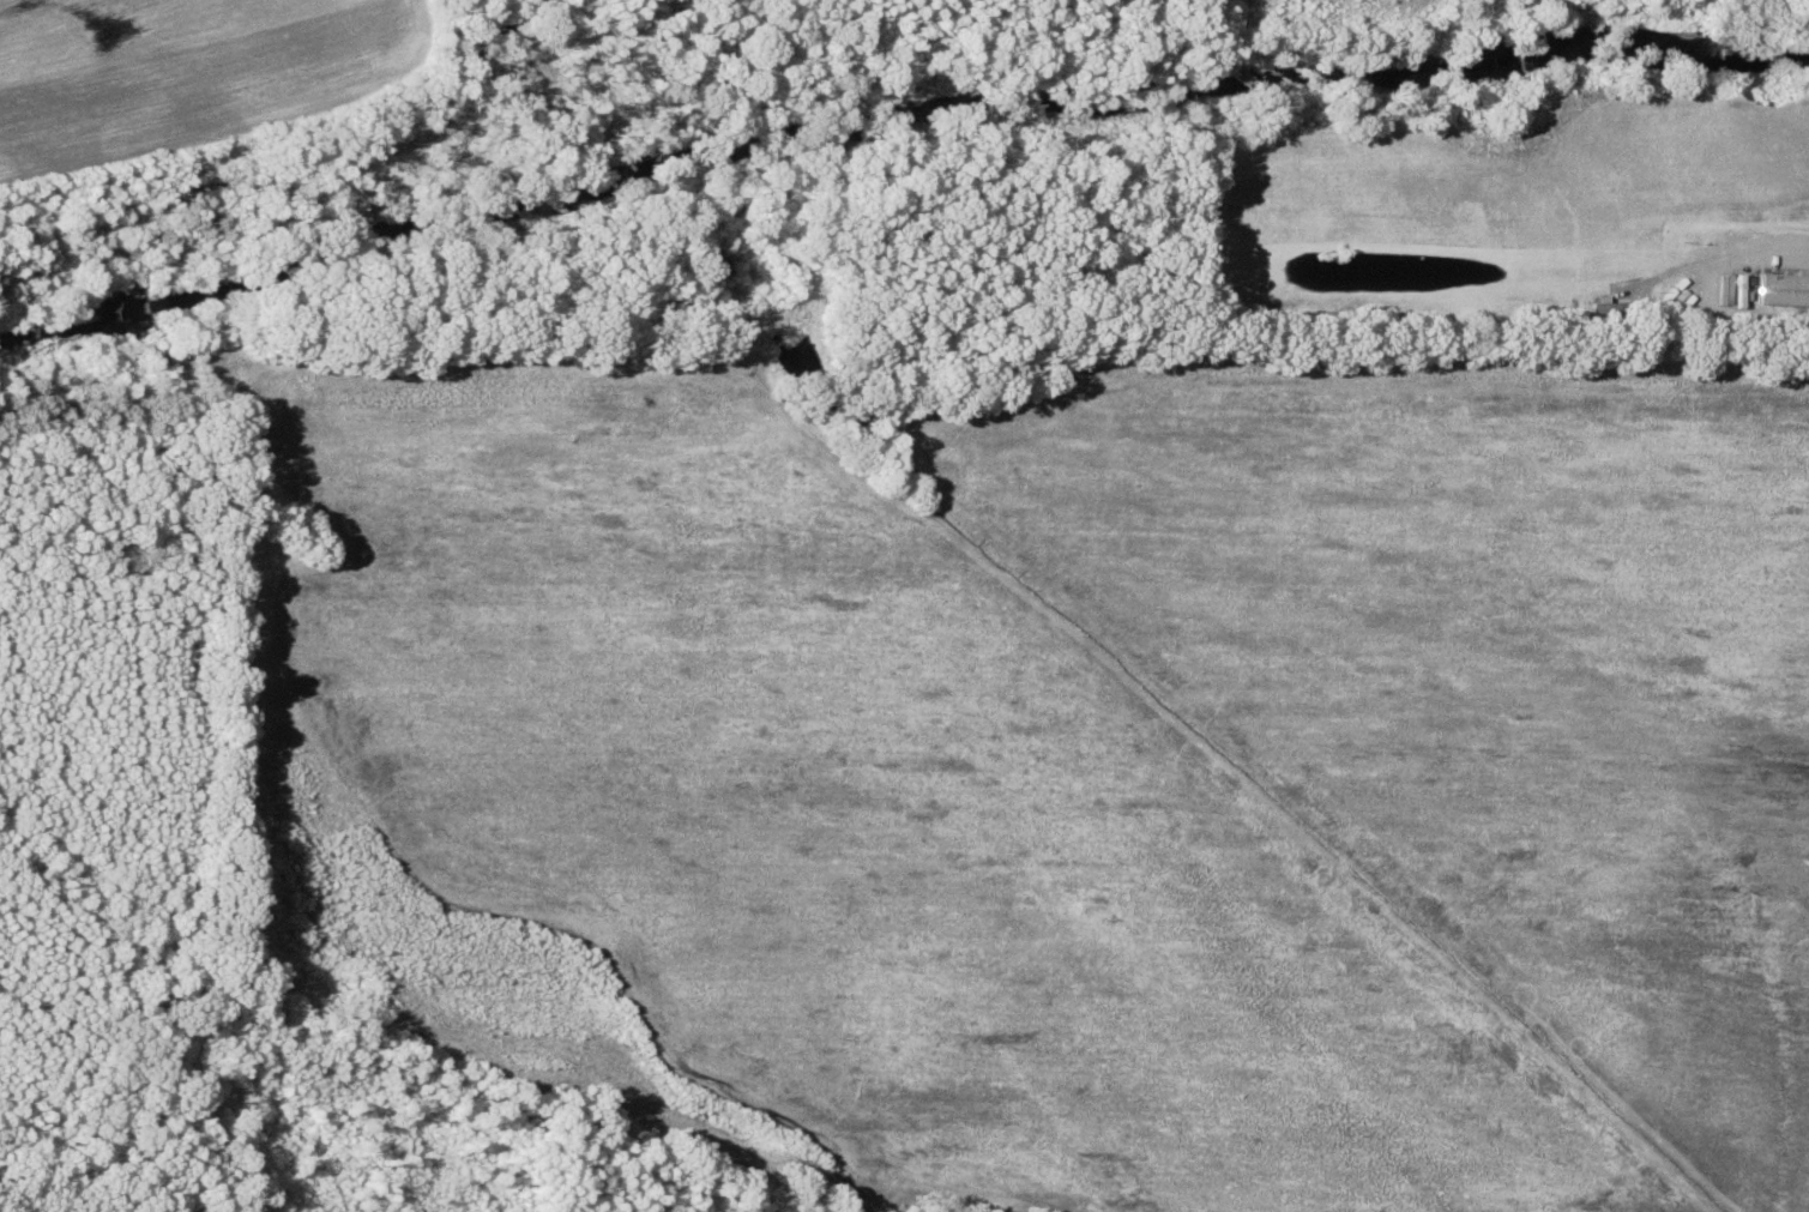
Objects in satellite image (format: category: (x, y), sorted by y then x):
building: (1779, 288)

